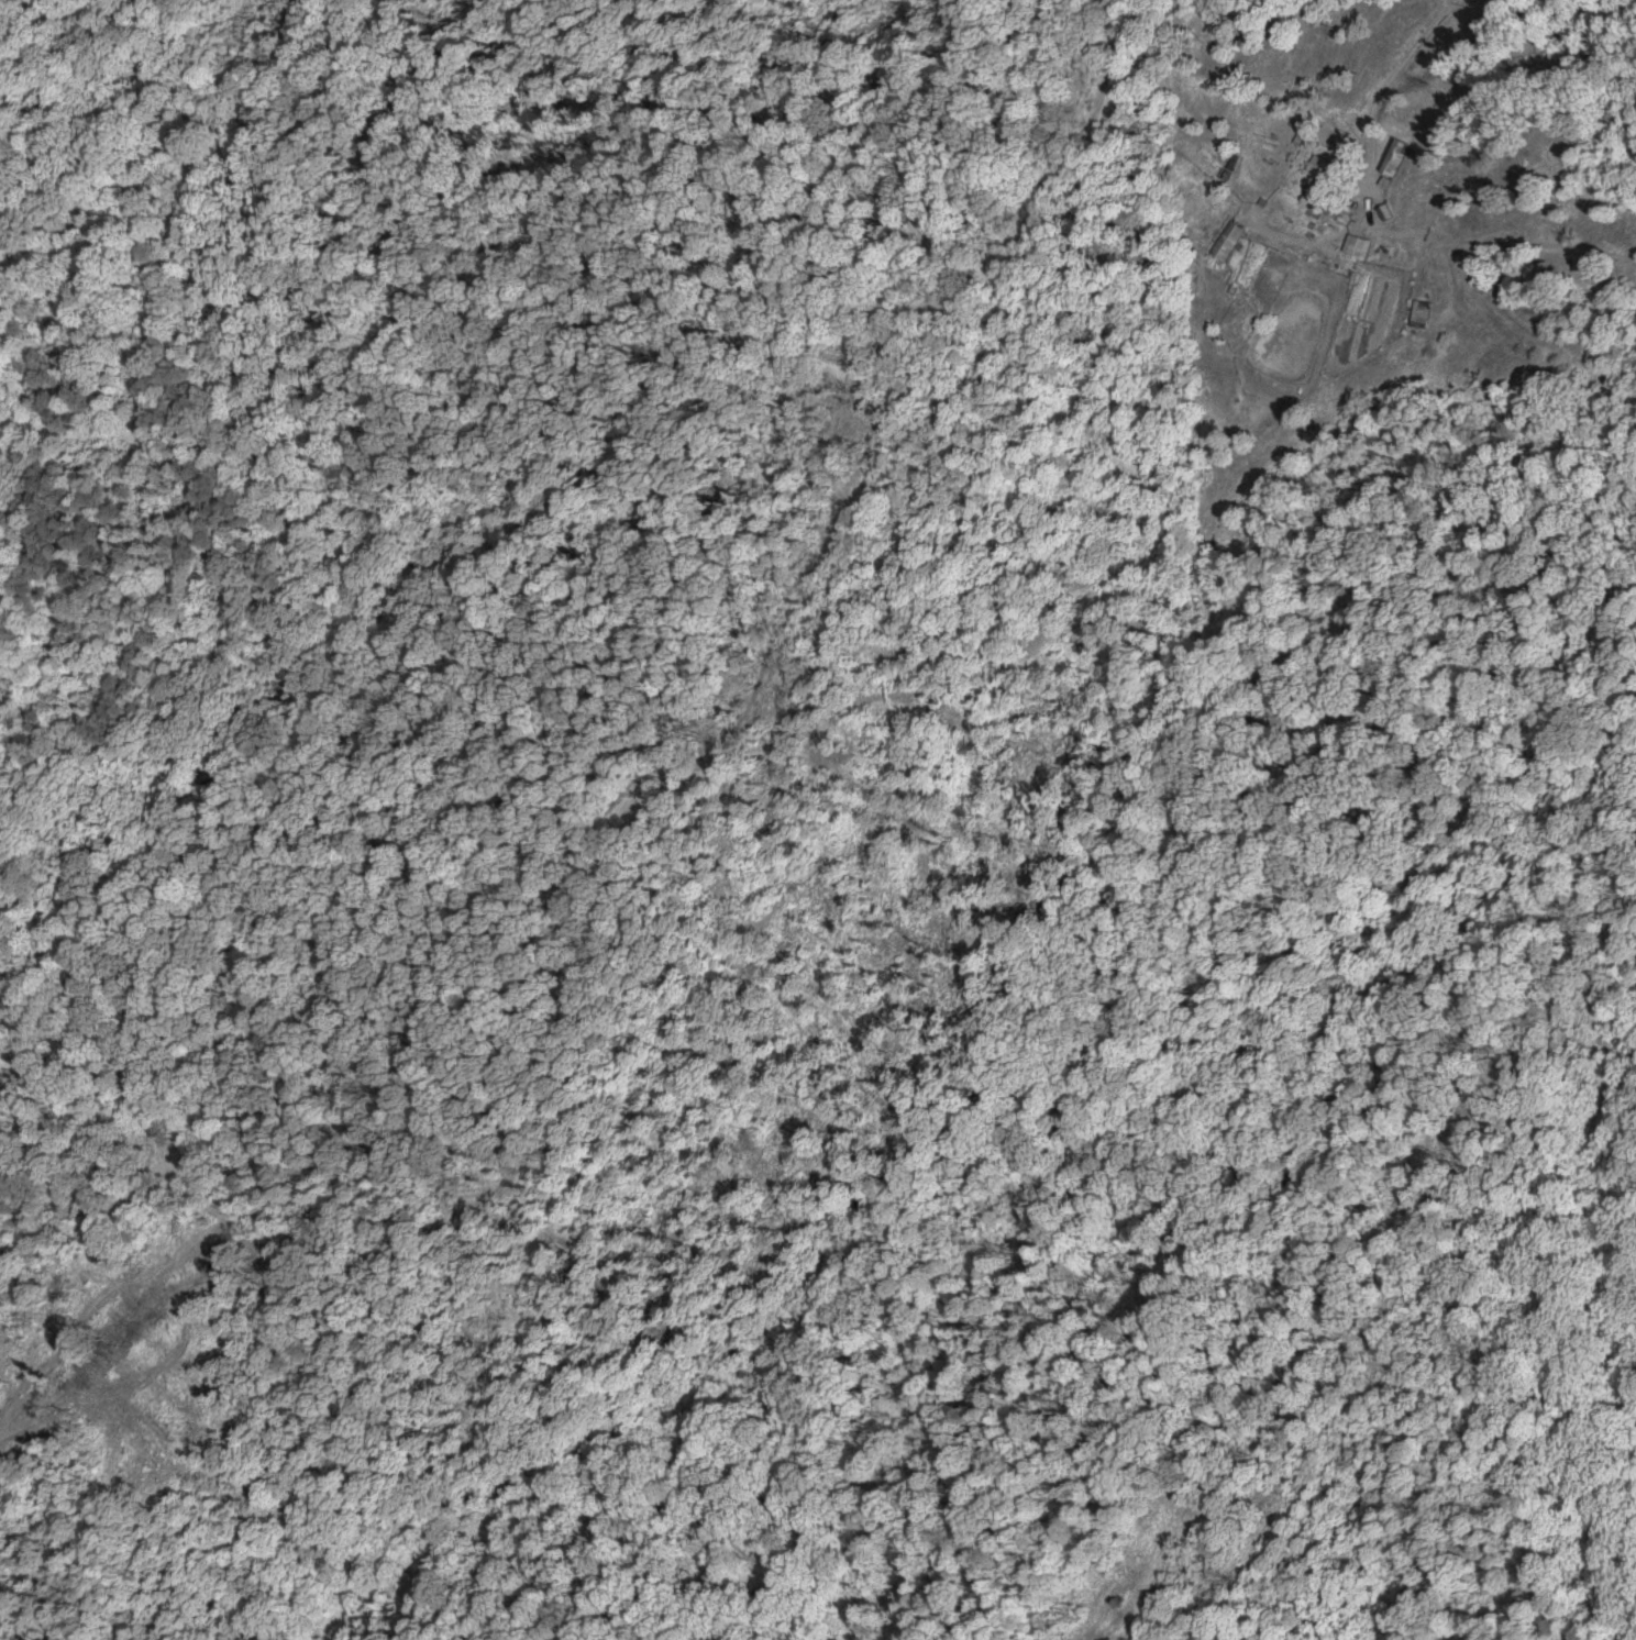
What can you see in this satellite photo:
building: (1393, 158)
building: (1319, 170)
building: (1225, 241)
building: (1418, 313)

